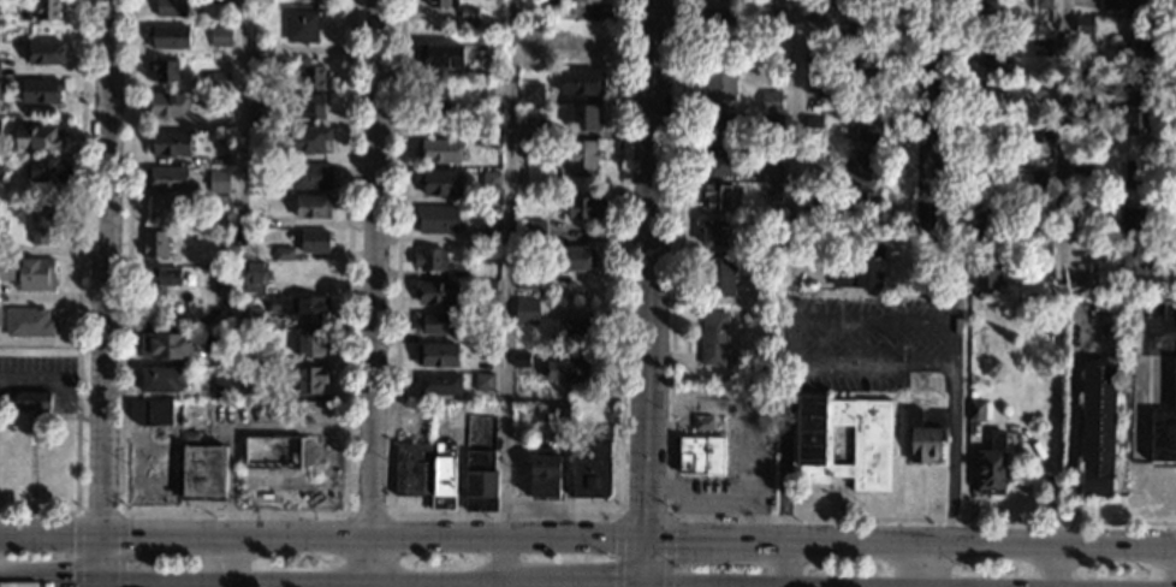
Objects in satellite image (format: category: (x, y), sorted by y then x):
building: (583, 0)
building: (218, 1)
building: (261, 1)
building: (857, 1)
building: (816, 2)
building: (443, 4)
building: (544, 4)
building: (1043, 4)
building: (1129, 5)
building: (47, 8)
building: (171, 8)
building: (469, 12)
building: (988, 12)
building: (563, 13)
building: (815, 16)
building: (225, 18)
building: (773, 18)
building: (718, 20)
building: (867, 24)
building: (1085, 24)
building: (302, 25)
building: (530, 30)
building: (220, 35)
building: (168, 36)
building: (1135, 45)
building: (1041, 46)
building: (262, 49)
building: (46, 52)
building: (815, 52)
building: (993, 53)
building: (441, 55)
building: (531, 57)
building: (859, 59)
building: (166, 69)
building: (494, 70)
building: (260, 71)
building: (313, 77)
building: (1086, 77)
building: (219, 81)
building: (721, 81)
building: (582, 82)
building: (1140, 83)
building: (816, 84)
building: (0, 89)
building: (487, 89)
building: (1041, 89)
building: (40, 90)
building: (531, 93)
building: (866, 95)
building: (990, 95)
building: (435, 96)
building: (219, 100)
building: (771, 101)
building: (165, 103)
building: (308, 106)
building: (1081, 113)
building: (259, 114)
building: (586, 118)
road: (242, 120)
building: (813, 121)
building: (773, 123)
building: (1136, 123)
building: (230, 124)
building: (727, 124)
building: (529, 126)
building: (869, 129)
building: (1041, 132)
building: (0, 135)
building: (489, 135)
building: (37, 137)
road: (923, 137)
building: (304, 140)
building: (170, 142)
road: (1064, 142)
road: (792, 143)
building: (986, 143)
building: (531, 148)
building: (438, 150)
building: (813, 154)
building: (580, 156)
building: (726, 161)
building: (869, 165)
building: (1081, 165)
building: (48, 170)
building: (772, 172)
building: (1133, 172)
building: (260, 173)
building: (1, 176)
building: (310, 176)
building: (1040, 178)
building: (165, 179)
building: (491, 180)
building: (440, 182)
building: (987, 183)
building: (219, 185)
building: (773, 191)
building: (718, 196)
building: (812, 197)
building: (859, 203)
building: (313, 206)
building: (584, 207)
building: (1080, 209)
building: (1040, 217)
building: (1130, 218)
building: (255, 219)
building: (438, 219)
building: (41, 225)
building: (985, 225)
building: (770, 227)
building: (533, 230)
building: (714, 232)
building: (488, 237)
building: (315, 241)
building: (154, 243)
building: (231, 254)
building: (284, 254)
building: (576, 259)
building: (430, 260)
building: (1134, 260)
building: (1038, 262)
building: (861, 268)
road: (376, 271)
building: (985, 271)
building: (28, 272)
road: (649, 272)
building: (161, 275)
building: (221, 277)
building: (255, 277)
building: (718, 277)
building: (527, 280)
building: (1083, 283)
building: (487, 287)
building: (435, 292)
road: (79, 293)
road: (105, 293)
road: (506, 293)
building: (301, 307)
building: (527, 310)
building: (248, 318)
road: (873, 320)
building: (29, 322)
building: (434, 322)
building: (577, 326)
road: (1163, 331)
building: (489, 333)
building: (714, 338)
building: (311, 344)
building: (164, 345)
building: (485, 351)
building: (225, 354)
building: (251, 354)
building: (438, 355)
building: (519, 358)
building: (571, 369)
building: (162, 379)
building: (310, 379)
building: (483, 381)
building: (904, 383)
road: (57, 384)
building: (439, 384)
building: (224, 386)
building: (247, 390)
building: (32, 399)
building: (153, 410)
building: (975, 410)
building: (556, 411)
road: (744, 422)
building: (703, 423)
building: (1097, 427)
building: (1164, 427)
road: (303, 429)
road: (1076, 432)
building: (189, 435)
building: (921, 437)
building: (872, 444)
building: (272, 453)
building: (701, 456)
building: (411, 468)
building: (444, 468)
building: (991, 469)
building: (201, 472)
building: (545, 473)
building: (592, 473)
building: (480, 481)
building: (518, 481)
road: (697, 487)
road: (230, 496)
road: (670, 509)
road: (101, 512)
road: (236, 514)
road: (368, 514)
road: (507, 515)
road: (645, 515)
building: (724, 518)
traffic signals: (101, 532)
road: (185, 534)
road: (509, 542)
traffic signals: (647, 544)
road: (911, 547)
road: (895, 552)
road: (1163, 555)
road: (370, 562)
road: (647, 564)
road: (783, 565)
road: (920, 567)
road: (1053, 568)
traffic signals: (102, 581)
road: (184, 581)
road: (440, 582)
road: (370, 585)
road: (513, 585)
road: (577, 585)
road: (647, 586)
traffic signals: (647, 586)
road: (783, 586)

